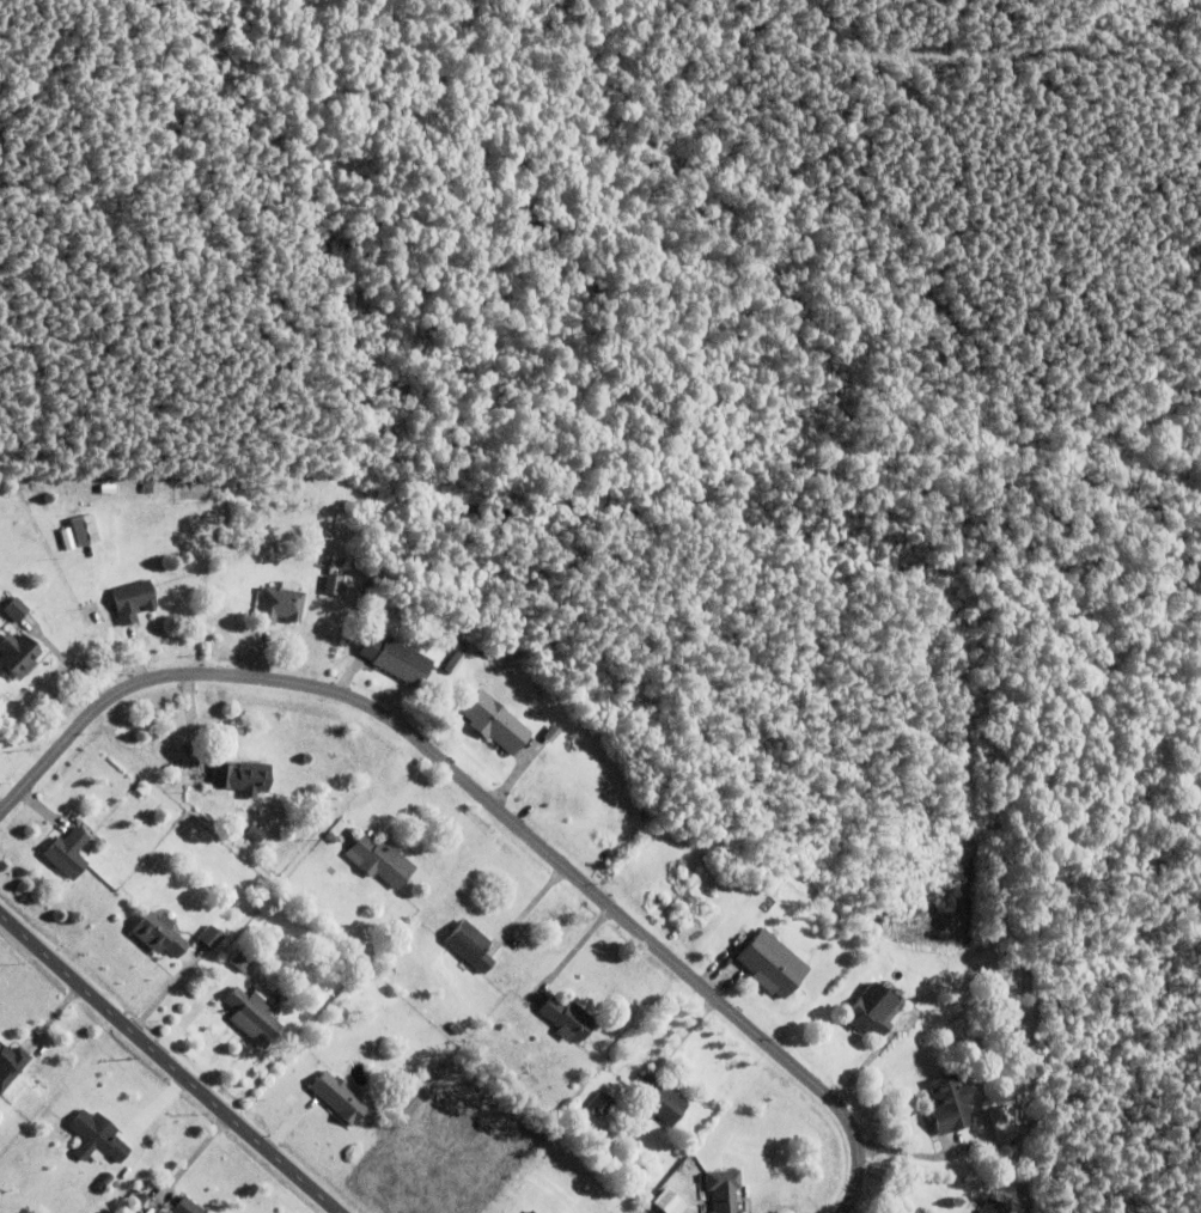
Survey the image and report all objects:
building: (146, 487)
building: (84, 528)
building: (334, 568)
building: (327, 585)
building: (133, 598)
building: (279, 603)
building: (14, 608)
building: (18, 653)
building: (395, 657)
building: (449, 665)
building: (492, 720)
building: (242, 775)
building: (141, 788)
road: (489, 798)
building: (256, 833)
building: (331, 836)
building: (348, 836)
building: (67, 852)
building: (379, 859)
building: (159, 933)
building: (211, 935)
building: (470, 944)
building: (244, 957)
building: (764, 962)
building: (873, 1013)
building: (252, 1014)
building: (567, 1018)
building: (457, 1026)
building: (596, 1036)
building: (11, 1063)
road: (171, 1063)
building: (339, 1096)
building: (590, 1096)
building: (660, 1099)
building: (602, 1102)
building: (949, 1103)
building: (1004, 1121)
building: (99, 1134)
building: (724, 1189)
building: (965, 1194)
building: (185, 1206)
building: (663, 1206)
building: (994, 1207)
building: (528, 1211)
building: (541, 1211)
building: (531, 1212)

